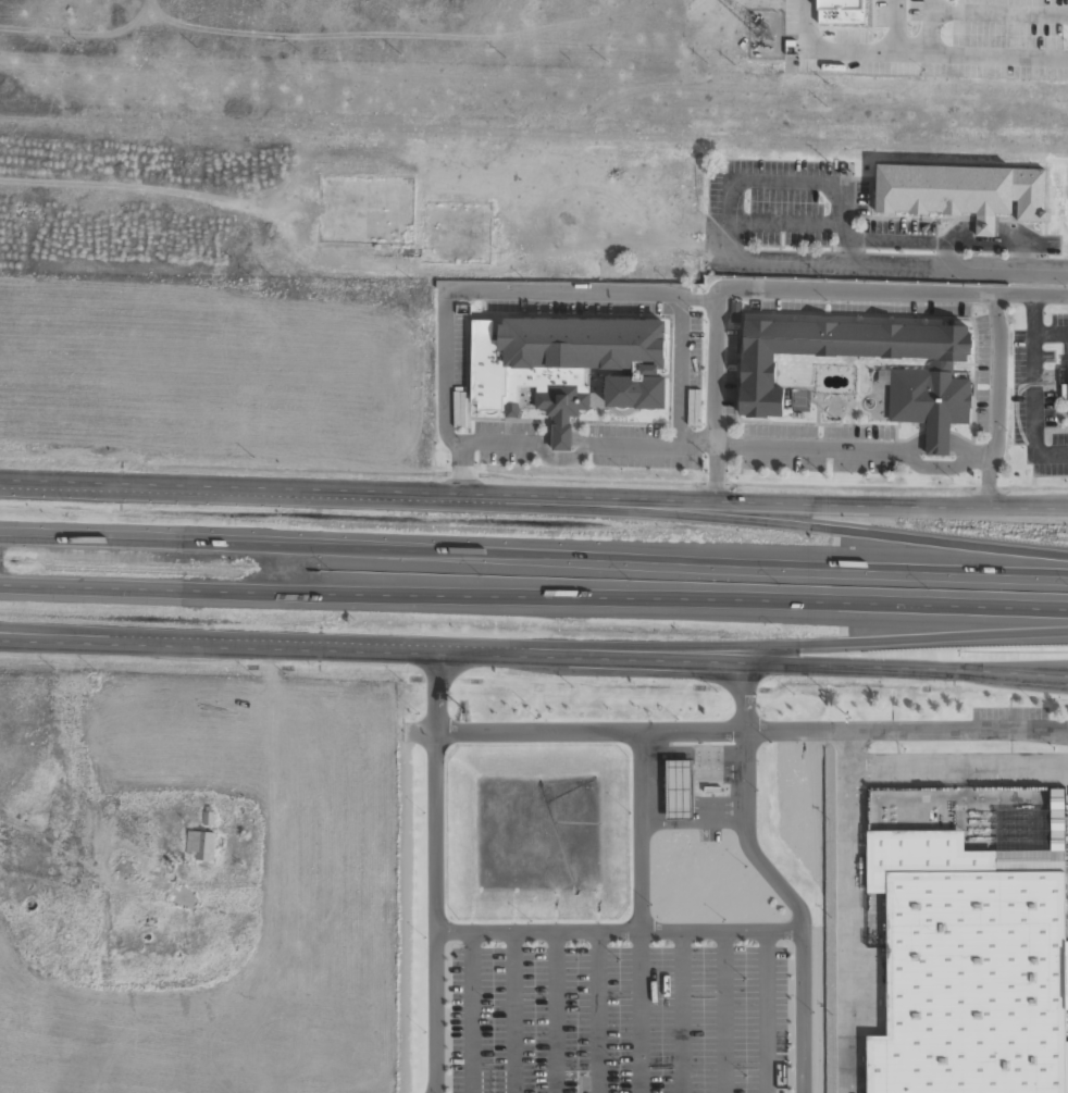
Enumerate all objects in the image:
building: (842, 11)
building: (984, 15)
building: (965, 190)
building: (363, 208)
building: (456, 232)
road: (858, 266)
building: (566, 365)
building: (929, 388)
building: (1064, 388)
road: (235, 485)
road: (765, 502)
road: (1064, 506)
road: (769, 521)
road: (534, 545)
road: (533, 604)
road: (29, 637)
road: (29, 641)
road: (268, 647)
road: (772, 647)
road: (735, 661)
road: (1031, 673)
road: (432, 691)
road: (741, 695)
road: (610, 730)
building: (678, 790)
gas station: (678, 790)
building: (200, 844)
road: (794, 903)
road: (432, 910)
road: (639, 911)
road: (613, 928)
building: (969, 937)
road: (765, 1009)
road: (511, 1010)
road: (555, 1010)
road: (598, 1010)
road: (471, 1011)

